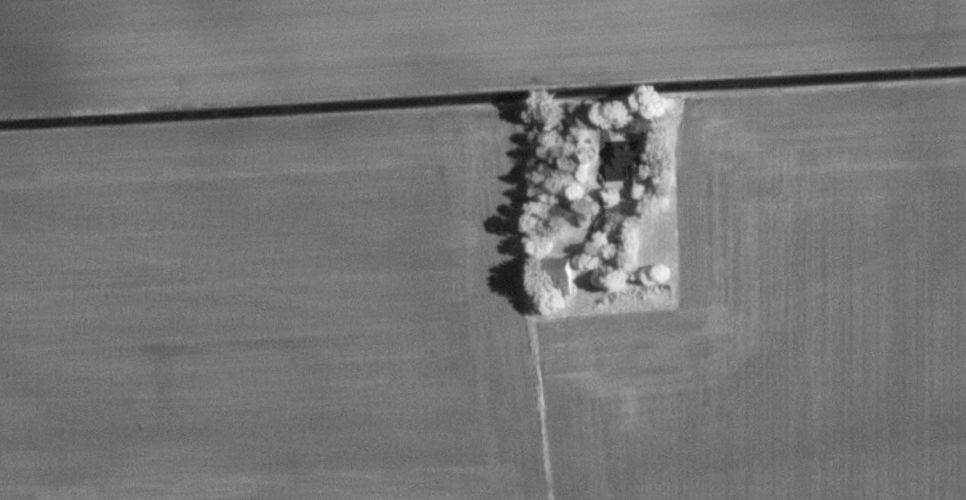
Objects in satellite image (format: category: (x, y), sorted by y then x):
road: (483, 98)
building: (625, 157)
building: (561, 274)

